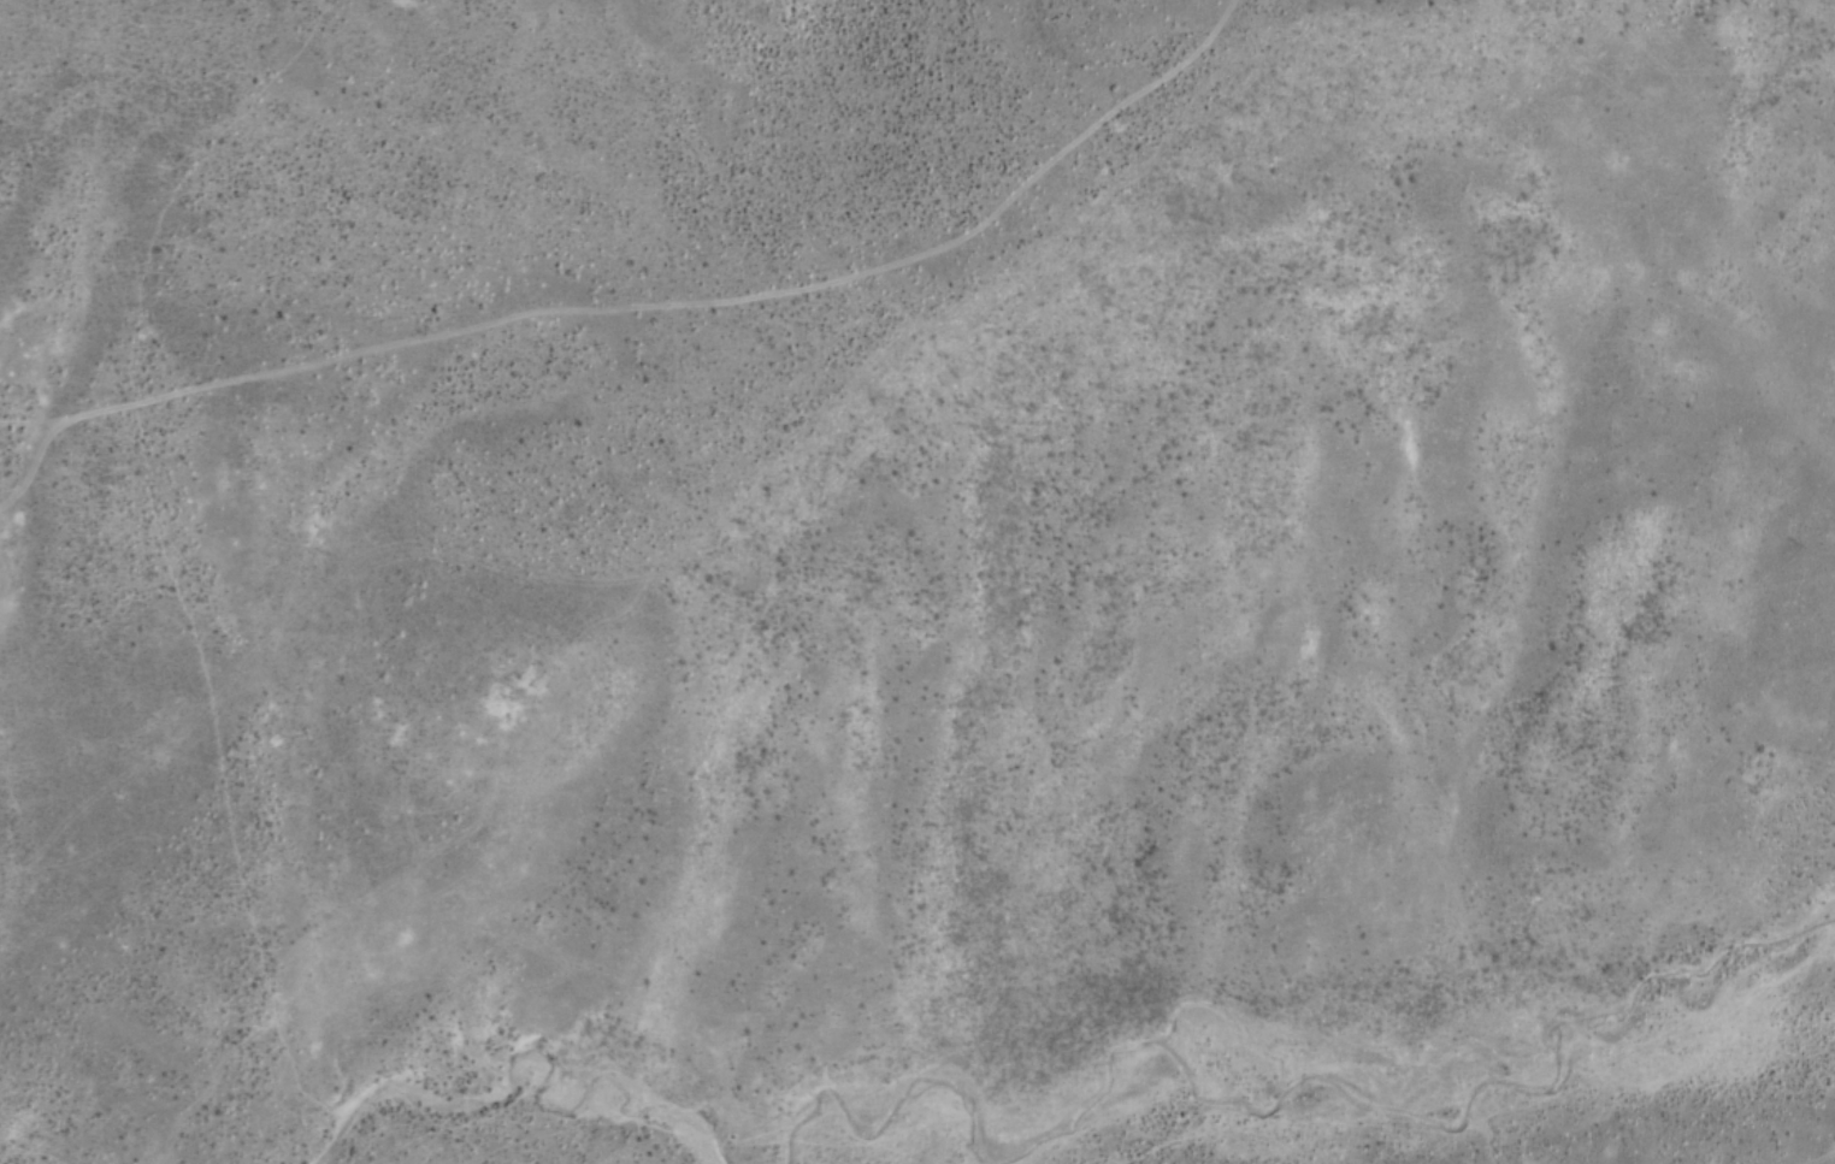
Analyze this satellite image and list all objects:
road: (1829, 1158)

